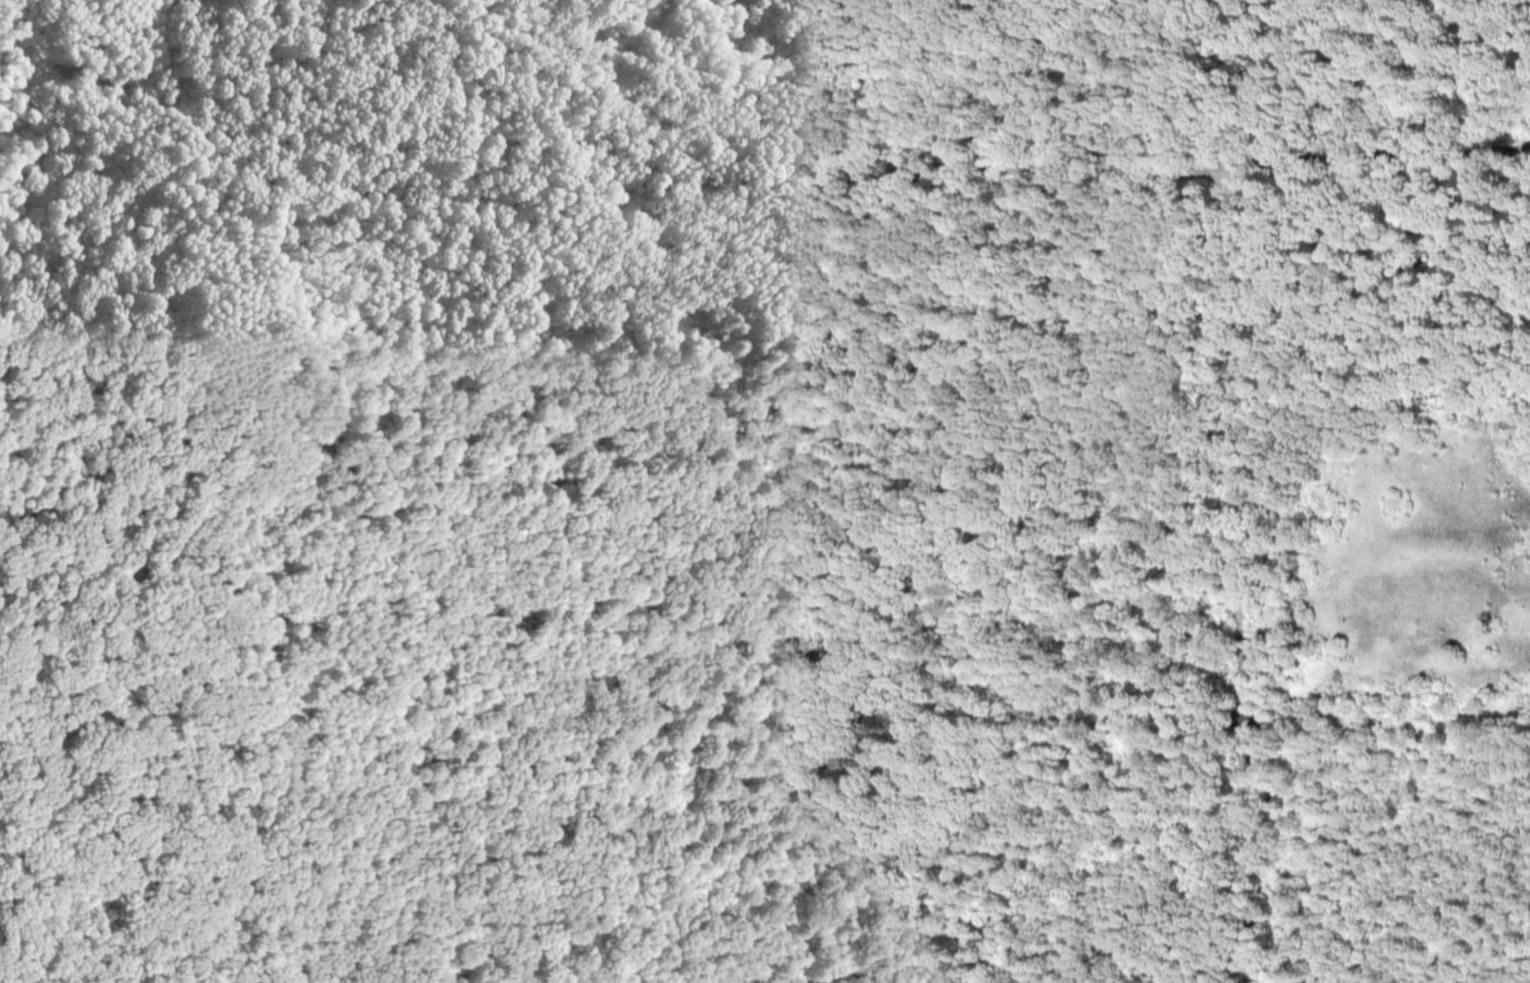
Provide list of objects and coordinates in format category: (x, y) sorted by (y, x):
road: (1345, 55)
road: (1311, 125)
road: (1270, 144)
road: (745, 181)
park: (765, 491)
road: (1238, 572)

